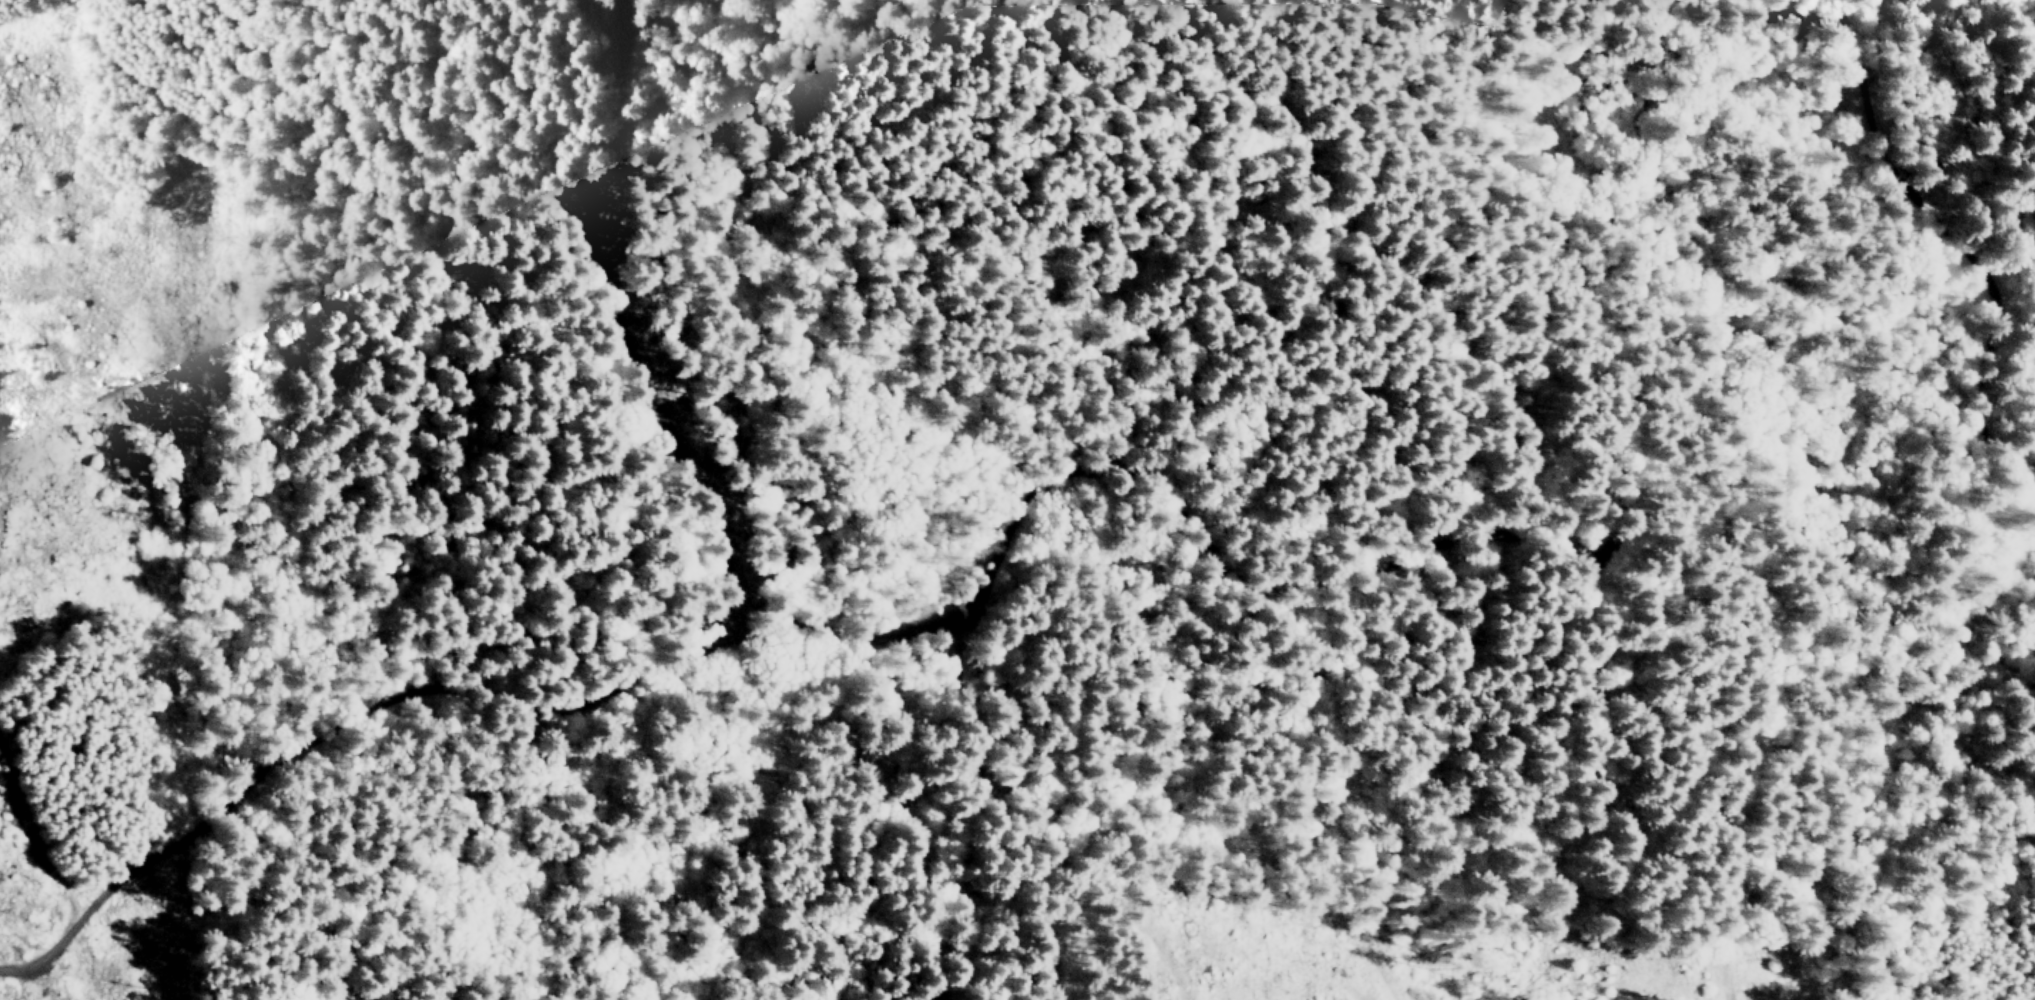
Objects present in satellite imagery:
road: (1326, 588)

